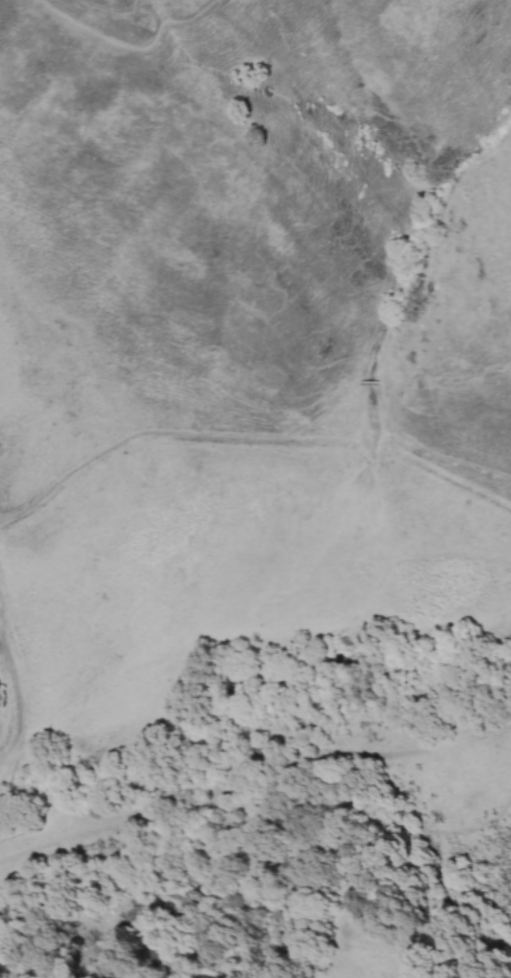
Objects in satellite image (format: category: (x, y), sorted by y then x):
road: (135, 47)
road: (368, 382)
road: (176, 433)
road: (426, 449)
road: (1, 615)
road: (16, 698)
road: (252, 781)
road: (276, 886)

